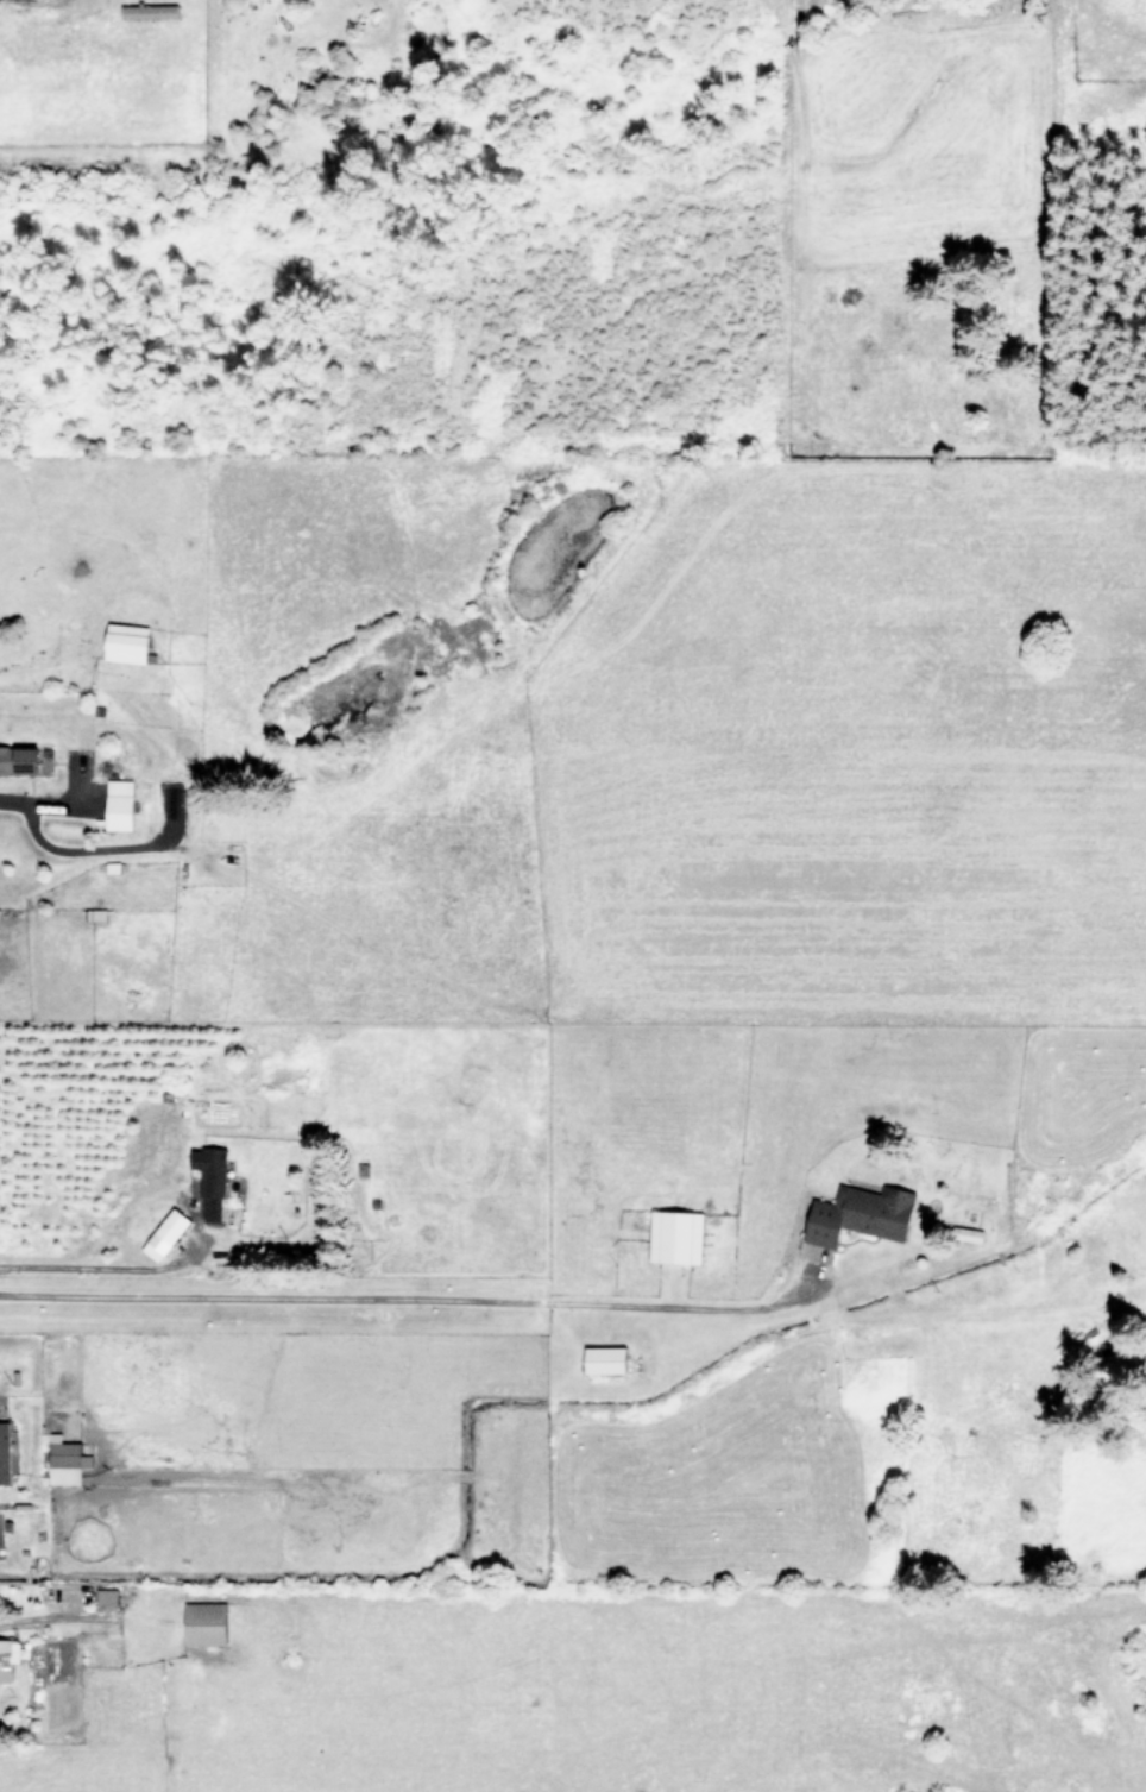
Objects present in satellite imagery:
building: (149, 11)
building: (127, 641)
building: (19, 759)
road: (43, 803)
building: (120, 803)
building: (210, 1181)
building: (862, 1213)
building: (166, 1233)
building: (676, 1235)
road: (89, 1269)
road: (417, 1296)
building: (605, 1358)
building: (5, 1452)
building: (67, 1460)
building: (107, 1596)
building: (206, 1622)
building: (7, 1658)

